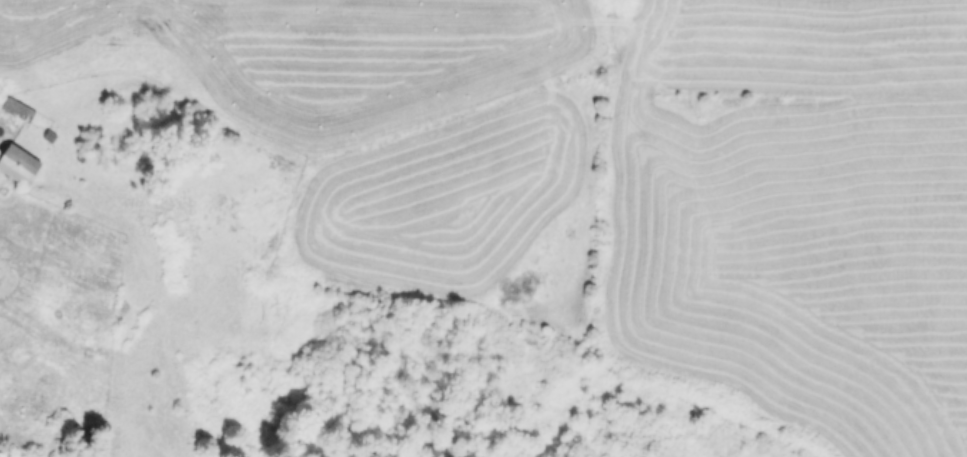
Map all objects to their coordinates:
building: (19, 106)
building: (51, 136)
building: (19, 163)

